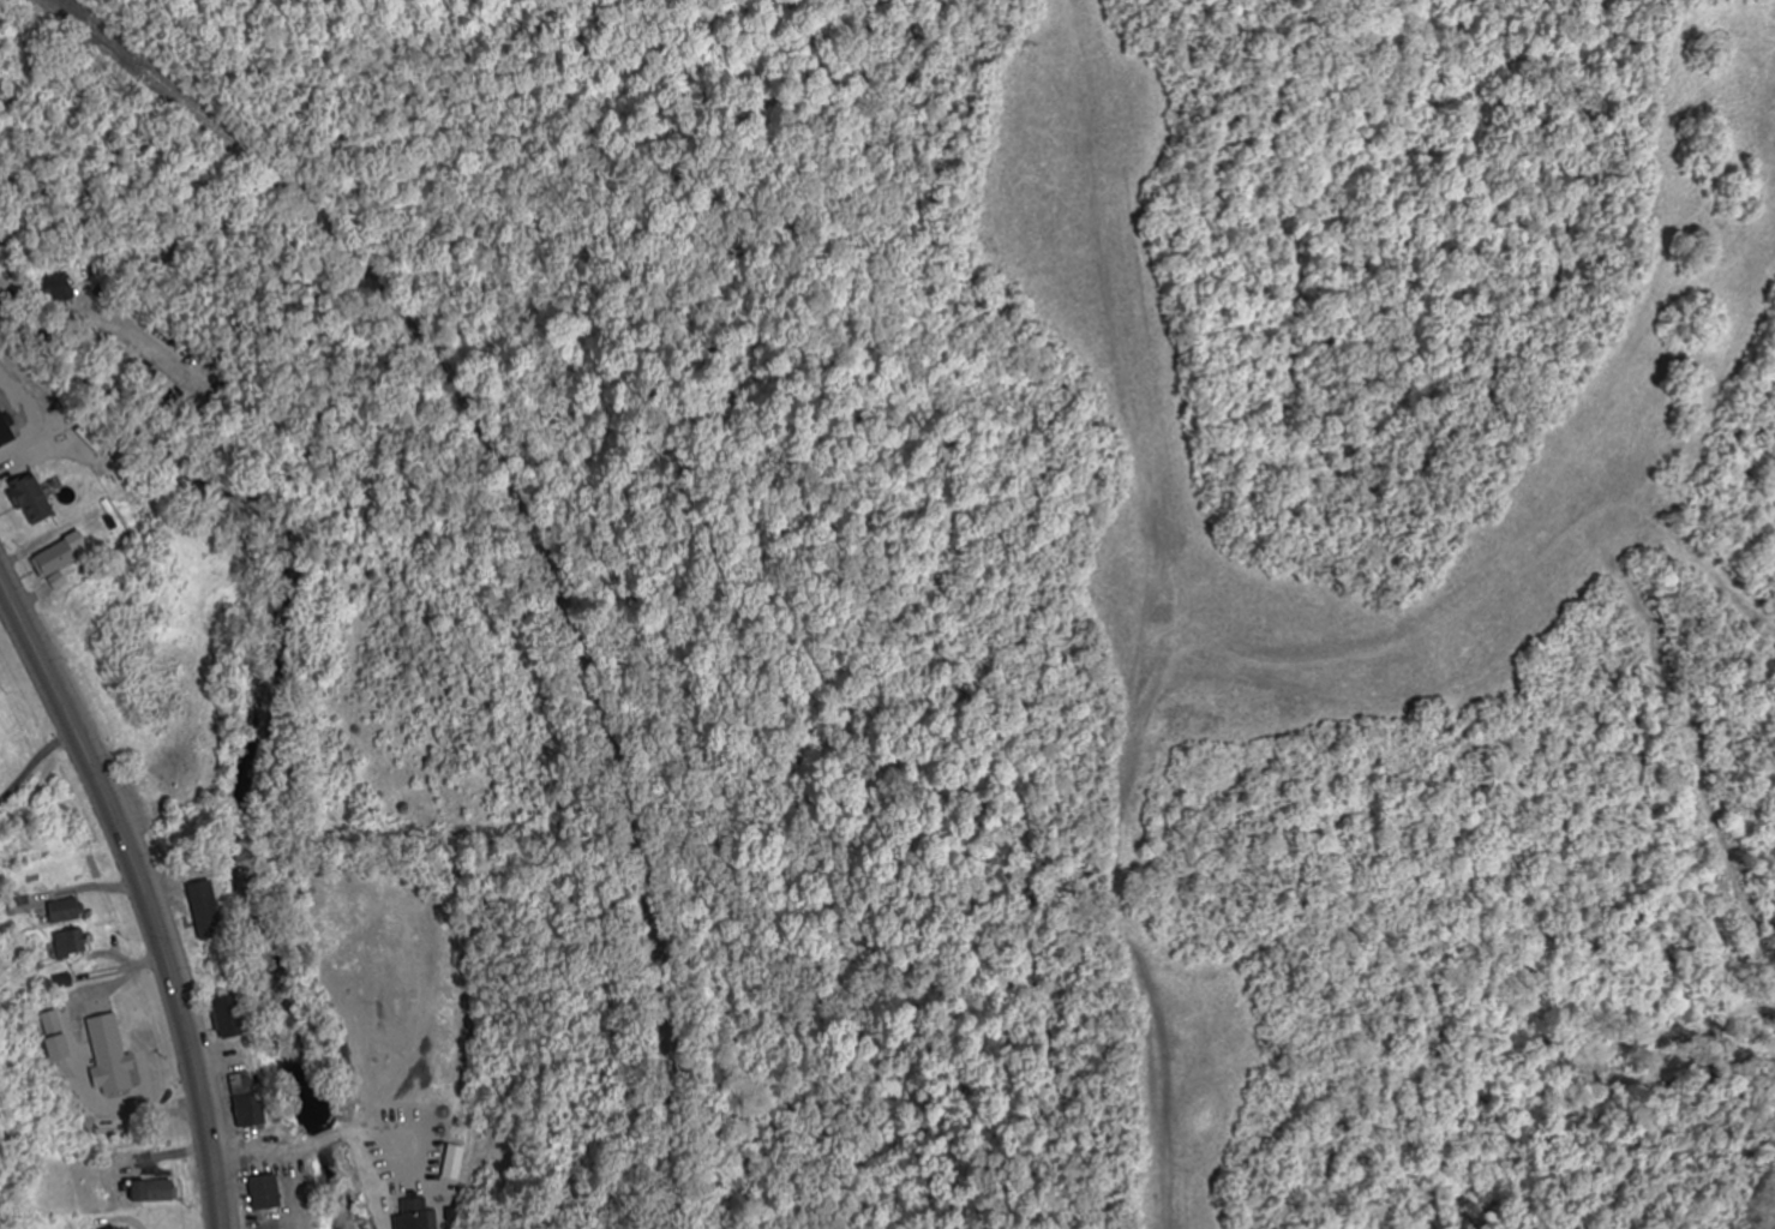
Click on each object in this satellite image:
building: (7, 428)
railway: (542, 520)
road: (144, 892)
road: (388, 1127)
road: (328, 1140)
road: (263, 1151)

